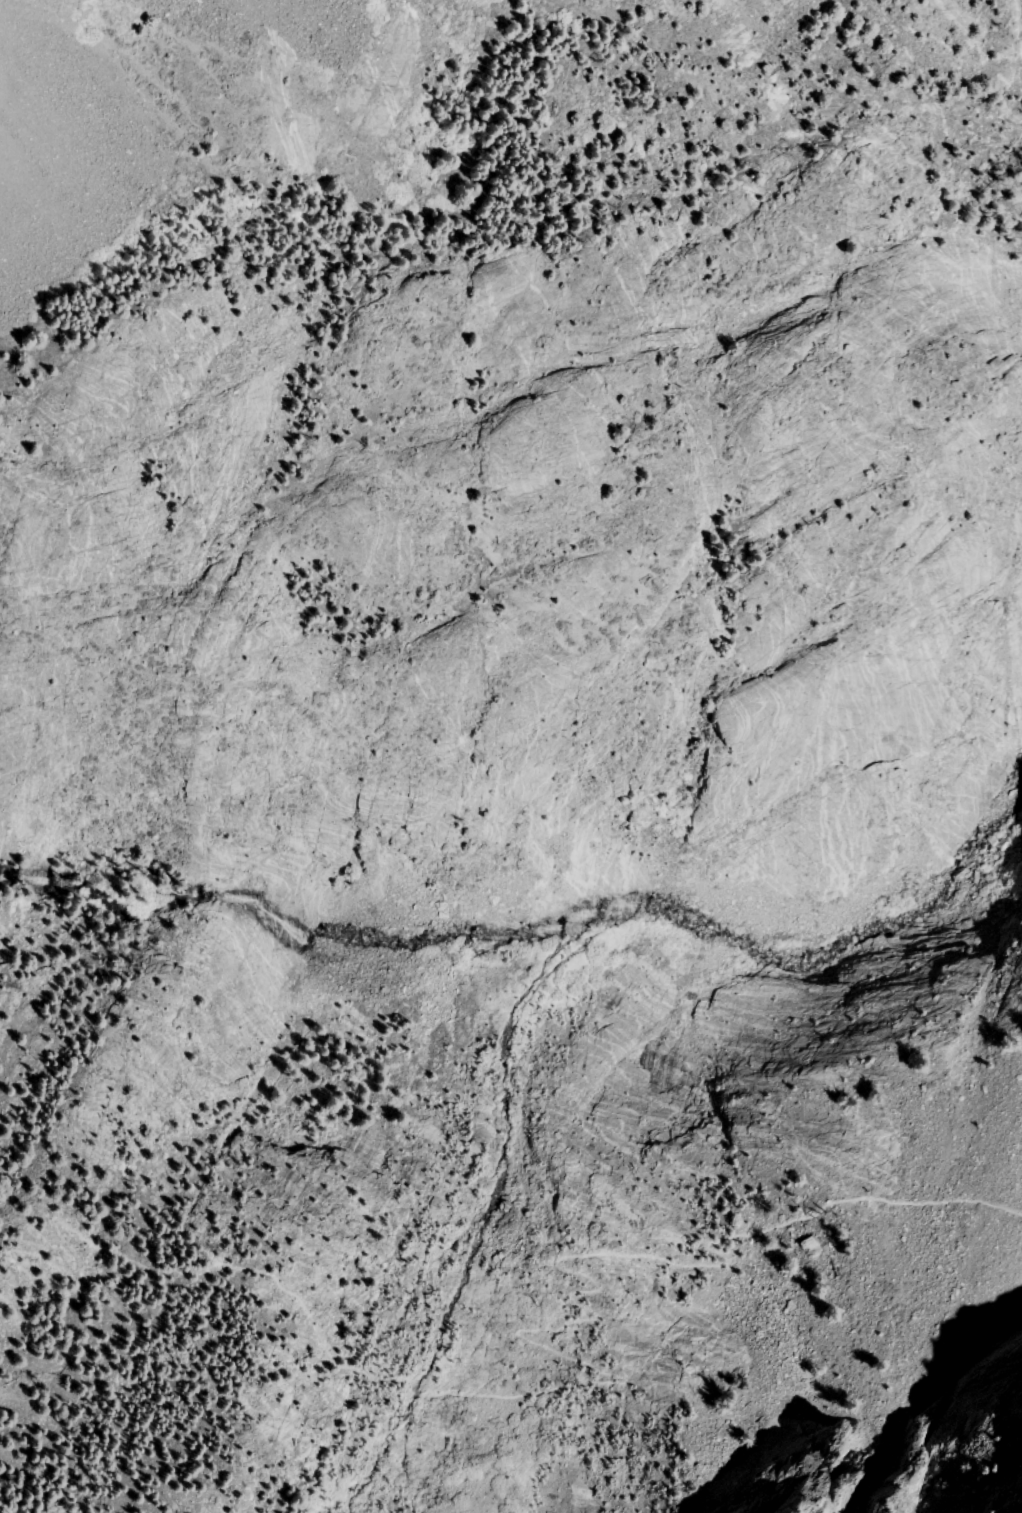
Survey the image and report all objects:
road: (548, 1389)

